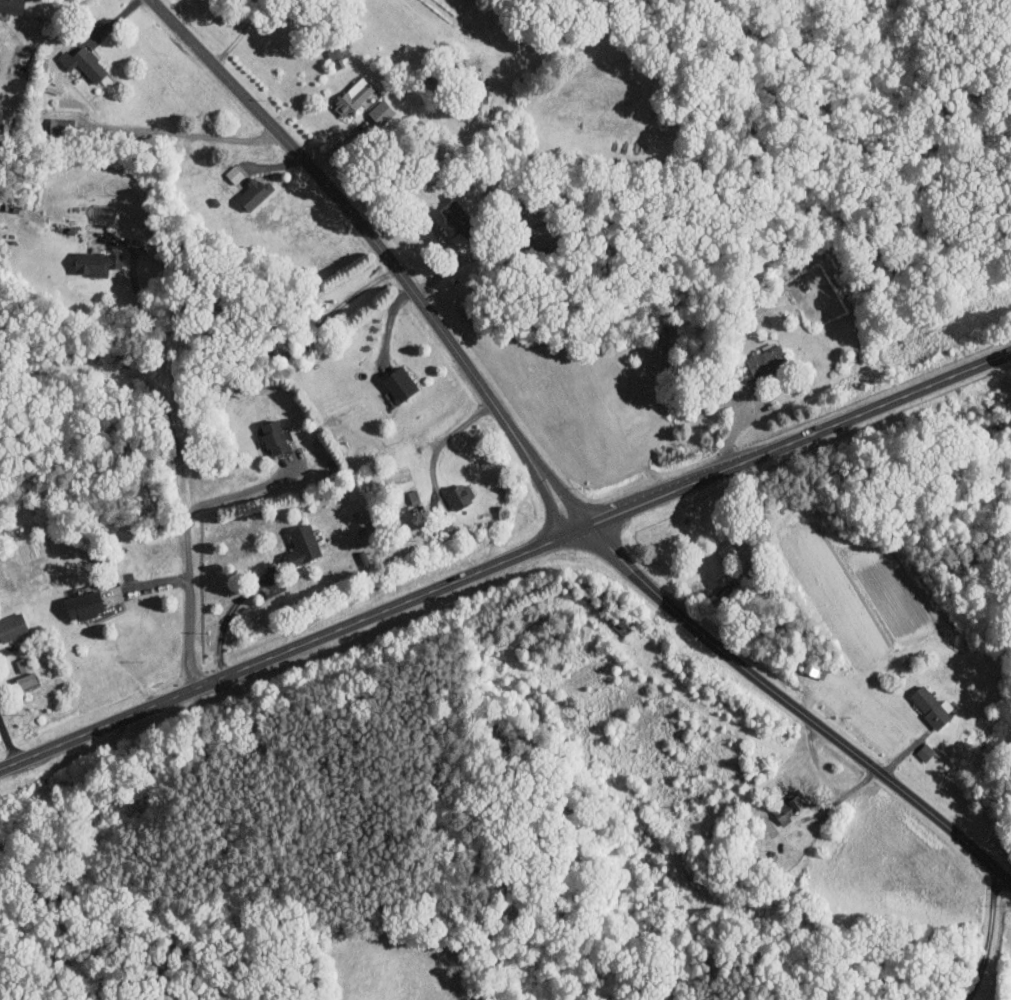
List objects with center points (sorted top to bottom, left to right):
building: (11, 6)
building: (337, 52)
building: (88, 64)
building: (355, 98)
building: (380, 112)
building: (59, 127)
building: (253, 194)
building: (456, 214)
road: (435, 229)
building: (544, 232)
building: (94, 261)
road: (388, 327)
road: (239, 329)
building: (765, 360)
building: (398, 382)
building: (272, 435)
road: (448, 437)
road: (545, 478)
road: (240, 492)
building: (459, 494)
building: (301, 544)
road: (505, 559)
road: (189, 602)
building: (83, 604)
building: (621, 623)
building: (12, 626)
building: (814, 668)
building: (24, 679)
building: (929, 705)
road: (8, 742)
building: (924, 751)
building: (788, 806)
road: (987, 940)

